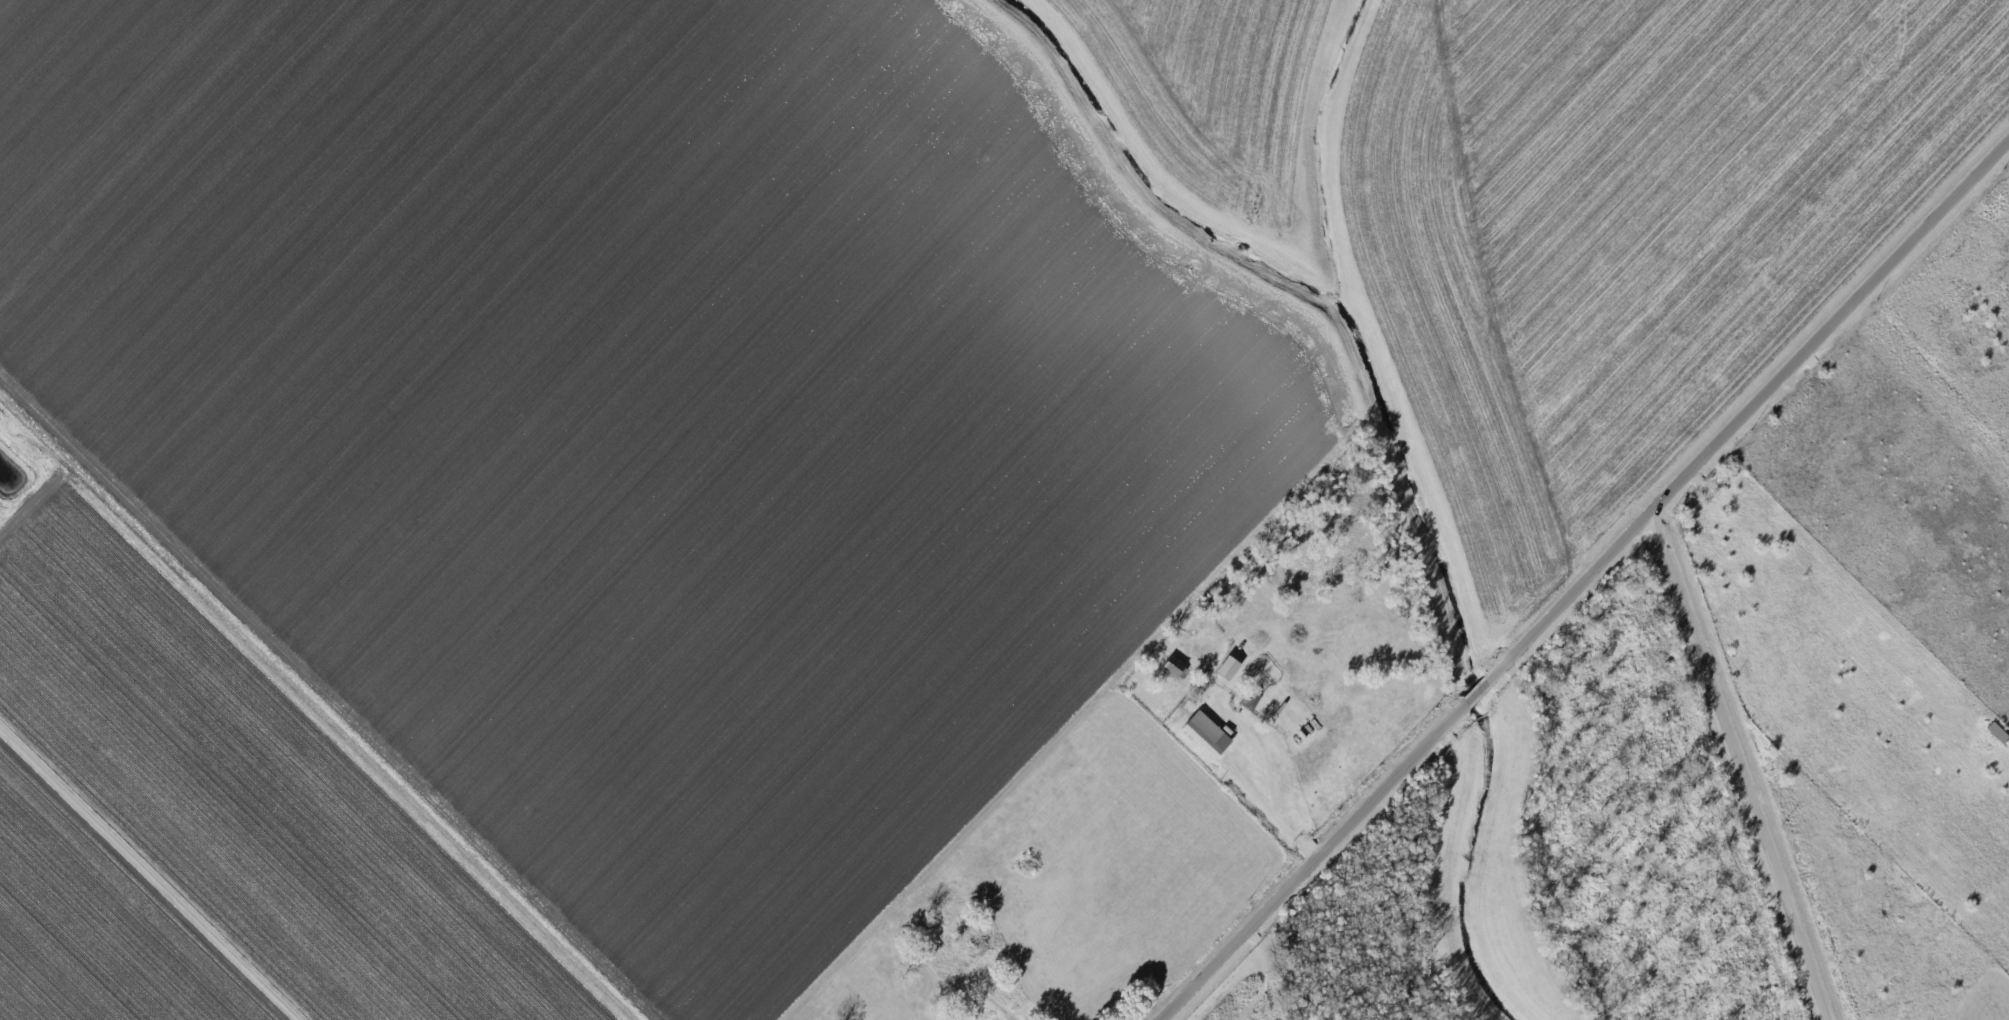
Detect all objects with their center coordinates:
road: (1498, 293)
road: (1586, 583)
building: (1175, 666)
building: (1229, 667)
road: (325, 695)
building: (1998, 732)
building: (1207, 734)
road: (1746, 765)
road: (1272, 799)
road: (149, 875)
road: (1281, 969)

